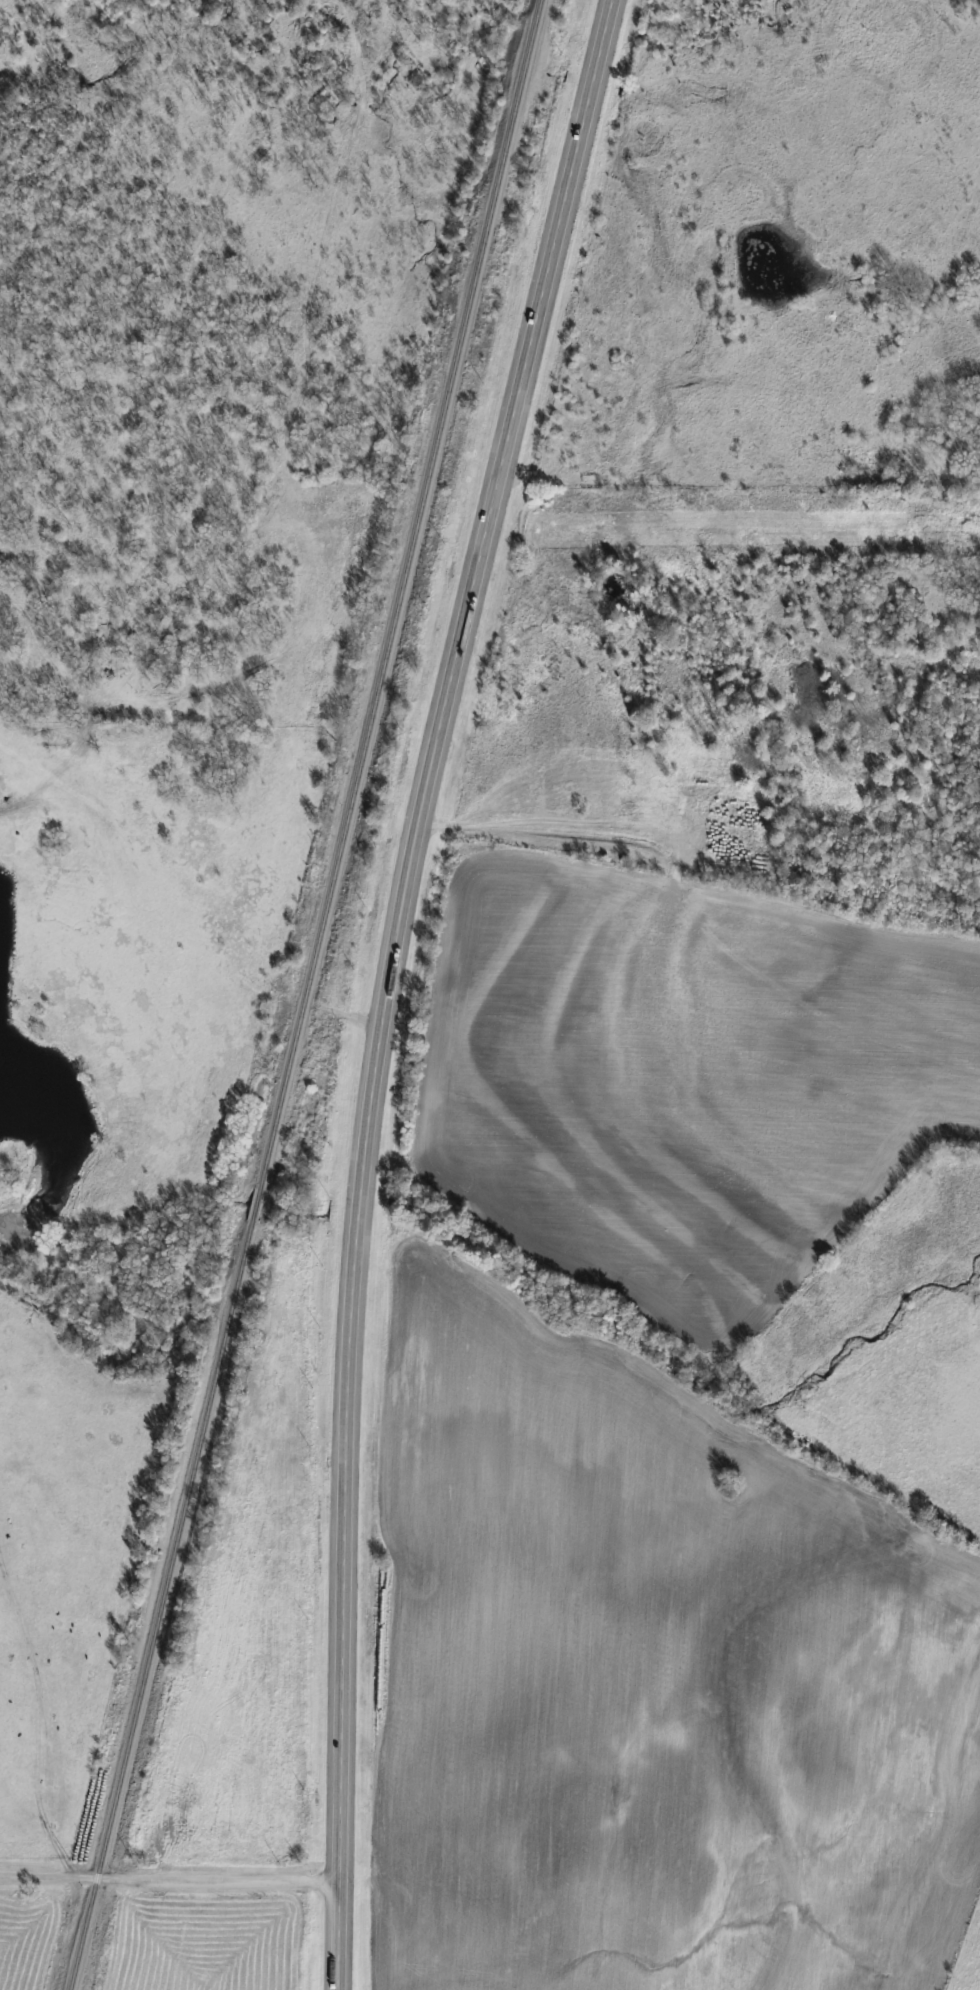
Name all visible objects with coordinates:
road: (385, 983)
railway: (306, 994)
crop: (646, 1675)
road: (48, 1878)
road: (215, 1880)

